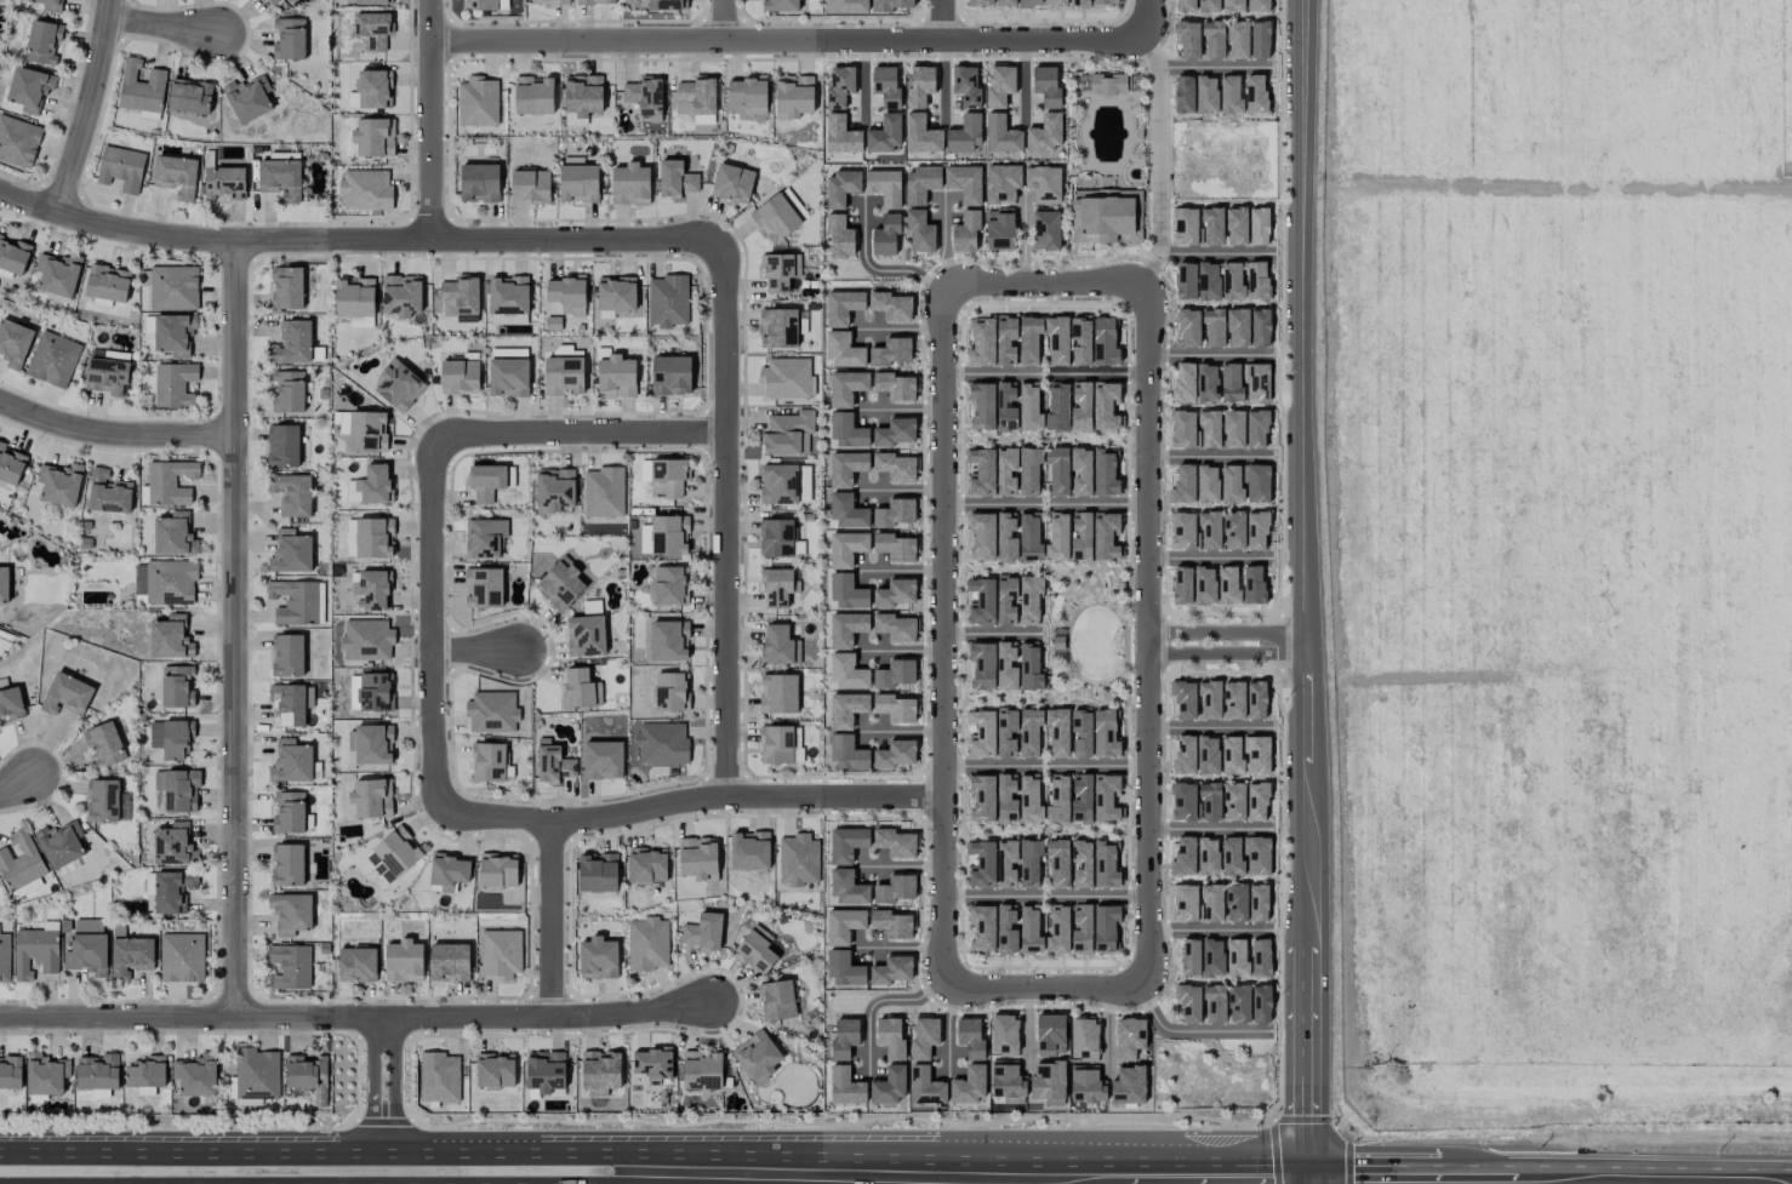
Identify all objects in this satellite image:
building: (272, 1)
building: (549, 1)
building: (595, 1)
building: (1105, 1)
building: (367, 2)
building: (980, 2)
building: (1005, 2)
building: (1029, 2)
building: (1056, 2)
building: (1079, 2)
building: (666, 4)
building: (51, 5)
building: (485, 5)
building: (780, 5)
building: (889, 5)
building: (1185, 5)
building: (1208, 5)
building: (1231, 5)
building: (846, 6)
building: (1256, 6)
road: (1142, 18)
road: (723, 19)
road: (941, 21)
road: (167, 24)
building: (373, 29)
building: (289, 39)
building: (1186, 39)
building: (1214, 39)
road: (627, 40)
building: (1237, 40)
building: (1260, 40)
building: (42, 41)
road: (980, 41)
road: (1214, 67)
road: (941, 80)
road: (863, 82)
road: (1023, 82)
building: (1107, 84)
building: (839, 86)
building: (886, 86)
building: (919, 86)
building: (966, 86)
building: (999, 86)
building: (1046, 86)
building: (141, 87)
building: (29, 88)
building: (373, 88)
building: (1206, 93)
building: (1255, 93)
building: (697, 95)
building: (748, 95)
building: (1183, 95)
building: (1229, 95)
building: (189, 96)
building: (533, 96)
building: (645, 96)
building: (793, 96)
building: (249, 98)
building: (582, 98)
building: (478, 102)
road: (91, 107)
road: (433, 120)
building: (885, 133)
building: (965, 133)
building: (1045, 133)
building: (841, 135)
building: (920, 135)
building: (1000, 135)
building: (373, 137)
building: (18, 141)
building: (284, 156)
road: (1160, 160)
building: (120, 168)
building: (175, 176)
building: (280, 179)
building: (675, 179)
building: (224, 182)
building: (479, 183)
building: (578, 183)
building: (732, 183)
building: (964, 183)
building: (1001, 183)
building: (630, 184)
building: (920, 184)
building: (1043, 184)
building: (530, 185)
building: (841, 187)
building: (884, 187)
building: (365, 190)
building: (793, 204)
building: (1106, 216)
building: (775, 218)
building: (1212, 225)
building: (1235, 225)
building: (1185, 227)
building: (1259, 227)
building: (999, 229)
building: (919, 230)
building: (1045, 230)
building: (965, 231)
building: (885, 235)
road: (164, 236)
building: (839, 236)
road: (1022, 238)
road: (943, 239)
road: (524, 240)
road: (1217, 252)
building: (13, 256)
road: (874, 269)
building: (778, 271)
building: (57, 274)
building: (1208, 280)
building: (1257, 280)
building: (1185, 281)
building: (1232, 281)
building: (107, 282)
road: (1044, 284)
building: (173, 287)
building: (286, 287)
building: (566, 293)
building: (616, 293)
building: (400, 296)
building: (508, 296)
building: (354, 297)
building: (457, 299)
building: (667, 301)
building: (890, 305)
building: (841, 307)
building: (777, 327)
building: (1188, 327)
building: (1214, 327)
building: (1237, 327)
building: (1260, 327)
road: (896, 328)
building: (173, 333)
building: (1005, 339)
building: (1029, 339)
building: (1056, 341)
building: (1080, 341)
building: (1105, 341)
building: (13, 342)
building: (981, 342)
building: (292, 343)
building: (843, 350)
building: (890, 351)
road: (1209, 355)
building: (52, 359)
road: (989, 373)
road: (1100, 373)
building: (107, 376)
building: (564, 376)
building: (670, 376)
building: (460, 377)
building: (508, 377)
building: (616, 377)
building: (786, 378)
building: (1183, 382)
building: (1206, 382)
building: (1231, 382)
building: (1256, 382)
building: (173, 384)
building: (894, 385)
building: (398, 387)
building: (846, 387)
building: (287, 391)
building: (980, 406)
building: (1057, 406)
building: (1080, 406)
building: (1106, 406)
building: (1005, 407)
building: (1029, 407)
road: (901, 410)
building: (1182, 429)
building: (1209, 429)
building: (1233, 429)
building: (1256, 429)
building: (365, 430)
building: (848, 431)
road: (581, 433)
building: (788, 433)
building: (894, 433)
road: (115, 436)
building: (283, 446)
road: (1206, 456)
building: (10, 465)
building: (895, 465)
building: (846, 468)
building: (1029, 470)
building: (981, 471)
building: (1006, 471)
building: (1057, 471)
building: (1080, 471)
building: (1105, 473)
building: (664, 475)
building: (486, 481)
building: (804, 481)
building: (170, 482)
building: (1208, 482)
building: (59, 484)
building: (778, 484)
building: (1231, 484)
building: (1256, 484)
building: (375, 485)
building: (1182, 485)
building: (554, 488)
road: (900, 491)
building: (604, 492)
building: (108, 493)
building: (292, 494)
road: (1097, 503)
road: (993, 504)
building: (846, 511)
building: (895, 513)
road: (726, 515)
building: (1233, 530)
building: (1183, 531)
building: (1209, 531)
building: (1256, 531)
building: (173, 534)
building: (664, 536)
building: (981, 536)
building: (1106, 536)
building: (373, 537)
building: (1006, 537)
building: (1057, 537)
building: (1080, 537)
building: (350, 538)
building: (485, 538)
building: (776, 538)
building: (1029, 538)
building: (894, 547)
building: (846, 548)
building: (291, 553)
road: (1209, 559)
crop: (1563, 559)
road: (901, 571)
building: (139, 579)
building: (170, 582)
building: (4, 584)
building: (560, 584)
building: (1252, 584)
building: (669, 585)
building: (1181, 585)
building: (1204, 585)
building: (1228, 585)
building: (483, 588)
building: (777, 588)
road: (1305, 588)
building: (371, 589)
building: (846, 591)
building: (895, 593)
building: (1006, 600)
building: (1029, 600)
building: (981, 601)
building: (295, 602)
building: (320, 602)
building: (592, 607)
road: (430, 619)
road: (238, 627)
building: (895, 627)
building: (846, 629)
road: (1226, 631)
road: (993, 633)
road: (1147, 634)
building: (586, 635)
road: (946, 635)
building: (170, 637)
building: (366, 639)
building: (668, 640)
building: (778, 645)
road: (475, 646)
road: (900, 651)
building: (287, 654)
road: (1226, 656)
building: (1006, 665)
building: (981, 667)
building: (1029, 667)
building: (848, 673)
building: (895, 674)
building: (177, 686)
building: (580, 688)
building: (375, 692)
building: (670, 692)
building: (778, 693)
building: (65, 694)
building: (1209, 699)
building: (1183, 700)
building: (1233, 700)
building: (1256, 700)
building: (11, 703)
building: (289, 704)
building: (894, 708)
building: (846, 709)
building: (492, 711)
road: (1209, 727)
road: (900, 731)
building: (1006, 732)
building: (1029, 732)
building: (1082, 732)
building: (981, 733)
building: (1057, 733)
building: (1105, 734)
building: (171, 738)
building: (797, 742)
building: (662, 743)
building: (104, 744)
building: (372, 744)
building: (776, 744)
building: (848, 754)
building: (1208, 754)
building: (1256, 754)
building: (894, 755)
building: (1183, 755)
building: (1232, 755)
building: (603, 760)
building: (291, 762)
building: (487, 762)
road: (991, 763)
road: (1100, 765)
building: (553, 766)
road: (18, 783)
building: (181, 790)
building: (371, 797)
building: (981, 797)
building: (1106, 797)
building: (1006, 799)
building: (1057, 799)
building: (1080, 799)
building: (102, 800)
building: (1029, 800)
road: (686, 801)
building: (1182, 801)
building: (1209, 801)
building: (1233, 801)
building: (1257, 801)
building: (289, 812)
road: (1209, 829)
building: (895, 842)
building: (61, 843)
building: (846, 843)
building: (173, 845)
building: (749, 851)
building: (393, 854)
building: (1208, 856)
building: (1231, 856)
building: (1256, 856)
building: (1182, 857)
building: (697, 858)
building: (798, 859)
building: (21, 862)
building: (1029, 863)
building: (1057, 863)
building: (1080, 863)
building: (287, 864)
building: (981, 864)
building: (1006, 864)
building: (647, 865)
road: (900, 865)
building: (1105, 866)
building: (497, 870)
building: (449, 871)
building: (597, 873)
building: (29, 887)
building: (848, 888)
building: (896, 888)
building: (172, 891)
road: (989, 897)
road: (1098, 898)
building: (1235, 902)
building: (1198, 903)
building: (1259, 903)
building: (290, 913)
road: (549, 921)
building: (892, 923)
building: (843, 925)
building: (1105, 927)
building: (981, 928)
building: (1082, 928)
building: (1006, 930)
building: (1058, 930)
road: (1209, 930)
building: (1029, 931)
building: (703, 932)
building: (647, 943)
building: (87, 946)
road: (895, 948)
building: (755, 950)
building: (35, 953)
building: (501, 954)
building: (131, 956)
building: (5, 957)
building: (182, 957)
building: (1189, 957)
building: (1212, 957)
building: (1235, 957)
building: (1261, 957)
building: (598, 959)
building: (404, 961)
building: (449, 962)
building: (356, 965)
building: (290, 966)
building: (844, 969)
building: (891, 971)
road: (1041, 986)
building: (777, 1000)
road: (875, 1003)
building: (1187, 1003)
building: (1214, 1003)
building: (1238, 1003)
building: (1261, 1003)
road: (192, 1013)
road: (537, 1019)
road: (948, 1029)
road: (1027, 1030)
building: (1050, 1034)
road: (1107, 1034)
building: (1004, 1035)
road: (1187, 1035)
building: (844, 1037)
building: (890, 1037)
building: (924, 1037)
building: (970, 1037)
building: (1129, 1037)
building: (1084, 1039)
building: (757, 1057)
building: (652, 1064)
building: (495, 1070)
building: (304, 1071)
building: (544, 1071)
building: (701, 1071)
building: (11, 1073)
building: (97, 1073)
building: (145, 1073)
building: (599, 1073)
building: (45, 1074)
building: (256, 1074)
building: (194, 1076)
building: (439, 1077)
building: (1005, 1081)
building: (1049, 1082)
building: (889, 1085)
building: (969, 1085)
building: (1086, 1085)
building: (1129, 1085)
building: (924, 1086)
building: (845, 1087)
road: (373, 1105)
road: (475, 1148)
road: (496, 1161)
road: (65, 1163)
road: (230, 1165)
road: (680, 1166)
road: (909, 1174)
road: (1216, 1174)
traffic signals: (1314, 1176)
road: (1397, 1176)
road: (1636, 1177)
road: (692, 1179)
road: (1314, 1179)

